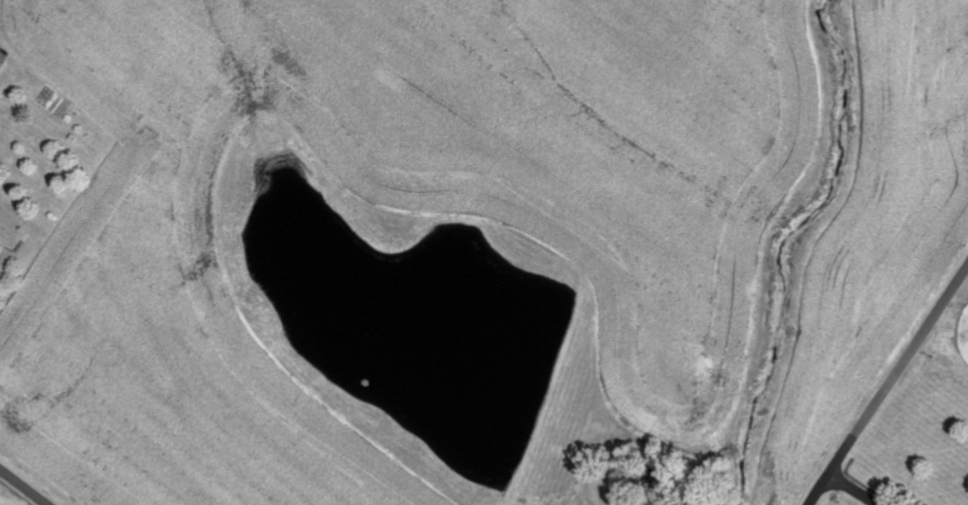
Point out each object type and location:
building: (1, 64)
road: (896, 365)
road: (817, 488)
road: (850, 488)
road: (21, 489)

